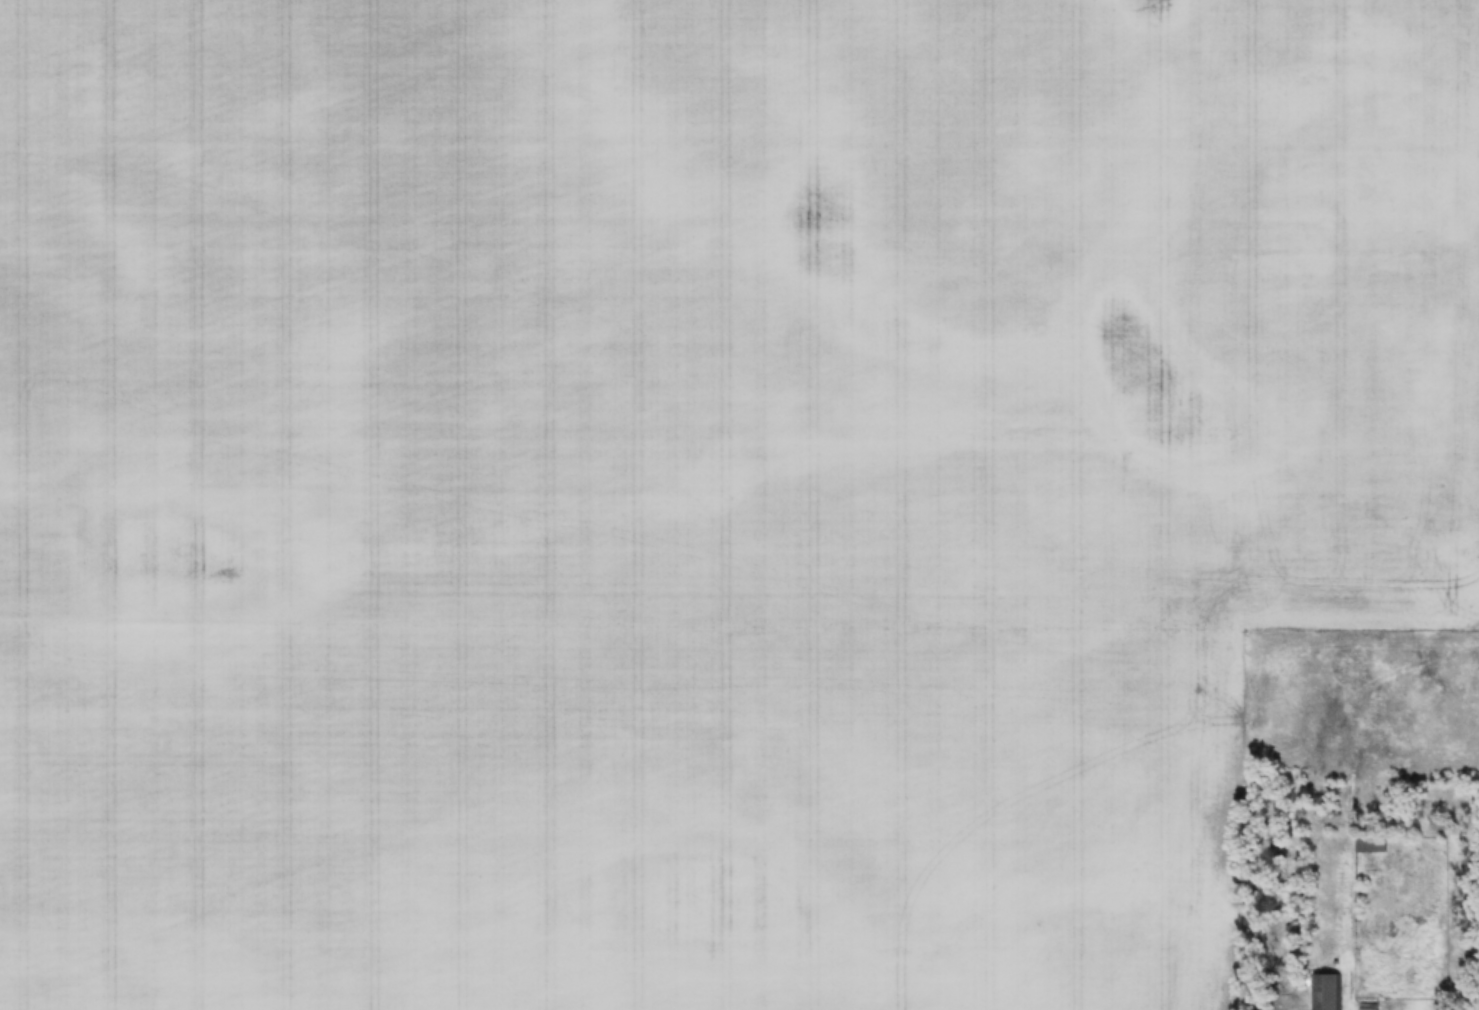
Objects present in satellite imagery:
building: (1370, 845)
building: (1325, 991)

